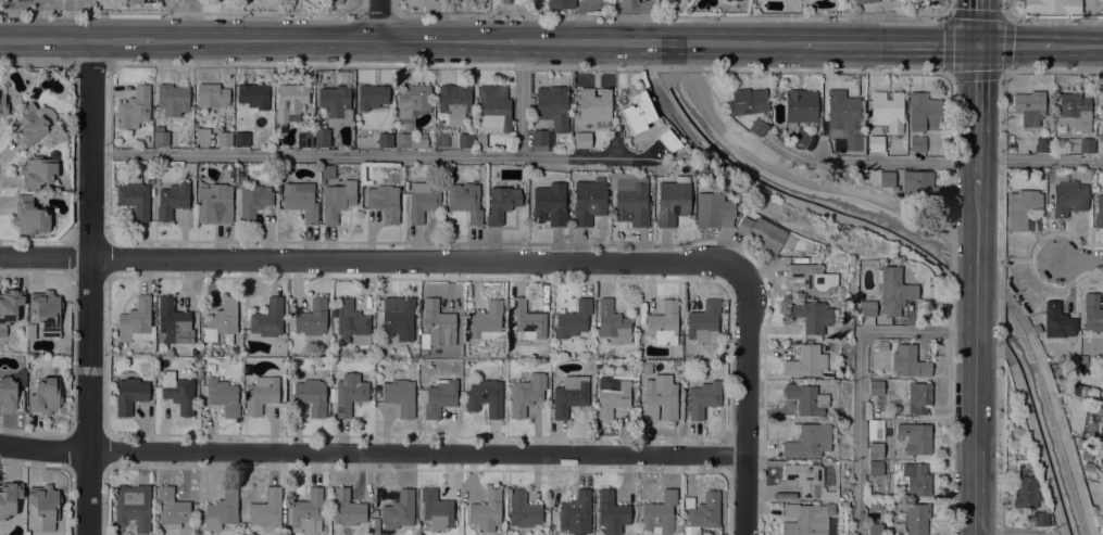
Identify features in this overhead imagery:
building: (736, 0)
building: (864, 1)
building: (134, 2)
building: (561, 4)
road: (623, 4)
building: (1053, 5)
road: (362, 7)
road: (394, 7)
road: (656, 8)
road: (1007, 9)
road: (624, 12)
road: (180, 13)
road: (378, 14)
road: (509, 14)
road: (794, 15)
road: (950, 15)
road: (1055, 18)
road: (378, 20)
road: (978, 23)
road: (626, 28)
road: (400, 39)
road: (888, 44)
road: (1015, 44)
road: (1078, 44)
traffic signals: (978, 46)
road: (689, 56)
road: (35, 64)
road: (529, 66)
building: (212, 95)
building: (253, 95)
building: (372, 97)
road: (521, 98)
building: (173, 99)
building: (454, 100)
building: (290, 101)
building: (336, 103)
building: (1101, 104)
building: (3, 105)
building: (596, 105)
building: (800, 106)
building: (1029, 107)
building: (134, 109)
building: (749, 109)
building: (887, 109)
building: (493, 110)
building: (924, 112)
building: (1073, 112)
building: (638, 113)
building: (550, 114)
building: (412, 115)
road: (977, 116)
building: (845, 119)
building: (29, 125)
road: (1002, 133)
building: (161, 136)
building: (801, 137)
building: (224, 139)
building: (241, 139)
building: (304, 139)
building: (322, 139)
building: (385, 139)
building: (582, 139)
building: (465, 140)
building: (668, 140)
building: (479, 142)
building: (876, 143)
building: (917, 143)
building: (1043, 144)
building: (1076, 144)
building: (1100, 144)
building: (559, 145)
building: (1011, 145)
road: (351, 154)
road: (950, 154)
road: (966, 161)
building: (682, 167)
building: (38, 171)
building: (328, 171)
building: (150, 174)
road: (794, 177)
building: (887, 179)
building: (920, 187)
building: (1095, 188)
road: (780, 195)
building: (135, 198)
building: (1068, 198)
building: (172, 200)
building: (252, 200)
building: (338, 200)
building: (423, 200)
building: (465, 200)
building: (589, 201)
building: (631, 201)
building: (673, 201)
building: (300, 202)
building: (384, 202)
building: (501, 203)
building: (215, 204)
building: (550, 204)
building: (1021, 208)
building: (713, 211)
building: (744, 211)
building: (1099, 212)
building: (29, 216)
road: (976, 225)
building: (761, 233)
road: (958, 238)
building: (811, 249)
road: (951, 254)
road: (45, 256)
road: (1082, 258)
road: (413, 259)
road: (989, 272)
building: (812, 278)
road: (975, 283)
road: (88, 285)
building: (894, 290)
road: (1008, 298)
building: (9, 307)
building: (867, 307)
building: (47, 311)
building: (1092, 313)
building: (813, 316)
building: (268, 318)
building: (312, 318)
building: (528, 319)
building: (574, 319)
road: (1000, 319)
building: (399, 320)
building: (136, 321)
building: (222, 321)
building: (487, 321)
building: (1058, 321)
building: (174, 322)
building: (352, 322)
building: (704, 322)
building: (437, 323)
building: (612, 323)
building: (642, 324)
building: (664, 324)
building: (235, 349)
road: (994, 351)
building: (195, 352)
building: (806, 361)
building: (908, 361)
building: (676, 364)
building: (647, 368)
road: (857, 377)
building: (876, 387)
building: (1080, 388)
building: (178, 392)
building: (66, 393)
building: (349, 393)
building: (129, 394)
building: (262, 394)
building: (526, 394)
building: (311, 395)
building: (569, 395)
building: (10, 396)
building: (46, 396)
building: (223, 396)
building: (400, 396)
building: (486, 396)
building: (440, 397)
building: (661, 397)
building: (703, 397)
building: (918, 397)
building: (611, 398)
building: (806, 398)
road: (745, 402)
road: (948, 403)
road: (1058, 417)
road: (974, 419)
building: (875, 429)
road: (1000, 436)
building: (915, 437)
building: (810, 441)
road: (1037, 448)
building: (875, 449)
road: (372, 451)
building: (875, 468)
building: (804, 477)
building: (917, 479)
building: (1102, 487)
building: (1026, 492)
building: (828, 496)
building: (9, 498)
building: (46, 505)
building: (133, 507)
building: (171, 508)
building: (347, 508)
building: (266, 509)
building: (222, 510)
building: (399, 510)
building: (436, 510)
building: (523, 510)
building: (486, 511)
building: (308, 512)
building: (575, 512)
building: (611, 512)
building: (660, 512)
building: (702, 512)
building: (375, 513)
building: (284, 518)
building: (916, 518)
building: (806, 519)
building: (1040, 519)
building: (376, 526)
building: (875, 528)
road: (1013, 533)

